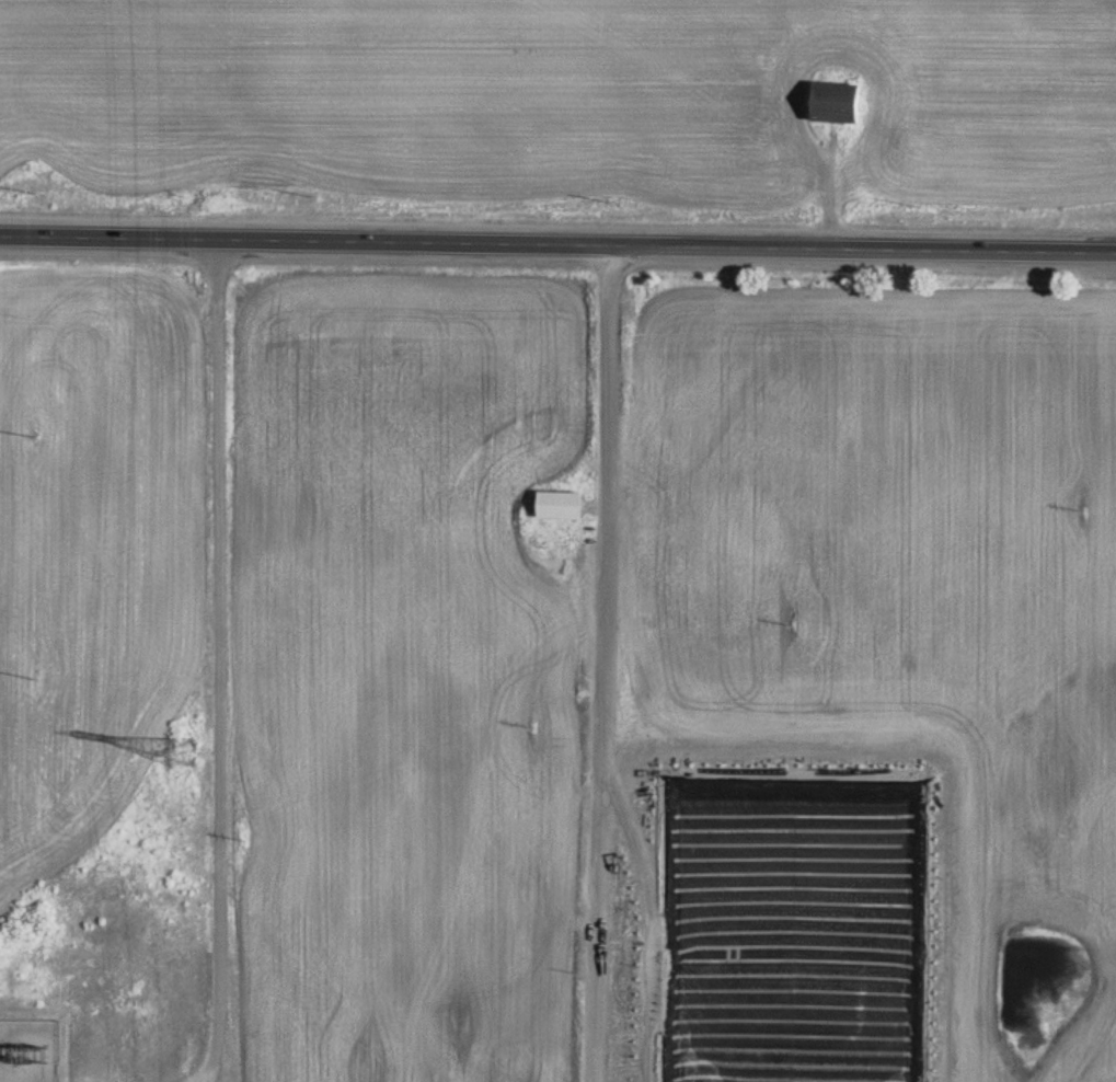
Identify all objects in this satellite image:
building: (847, 105)
road: (557, 242)
building: (567, 509)
road: (220, 661)
road: (605, 661)
power tower: (186, 752)
power substation: (30, 1051)

